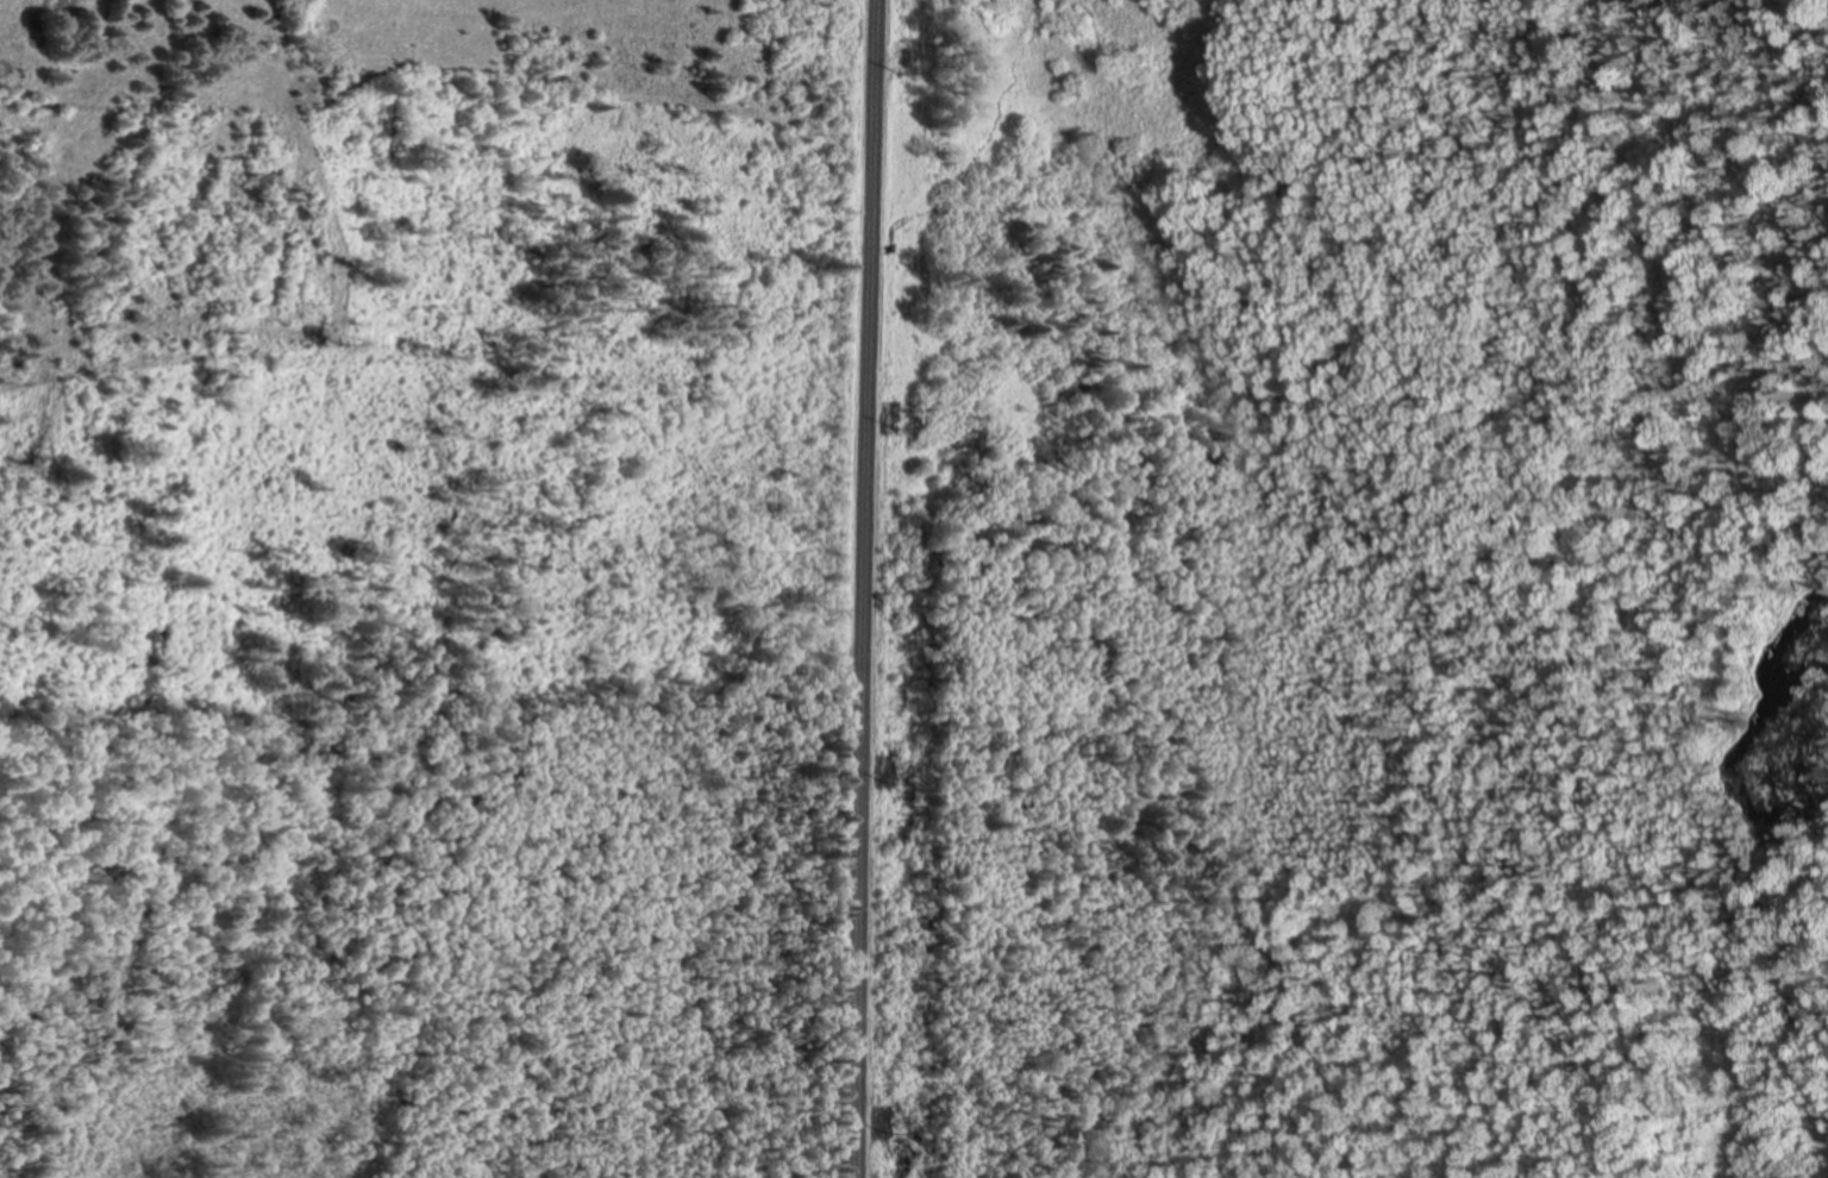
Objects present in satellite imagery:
road: (865, 589)

